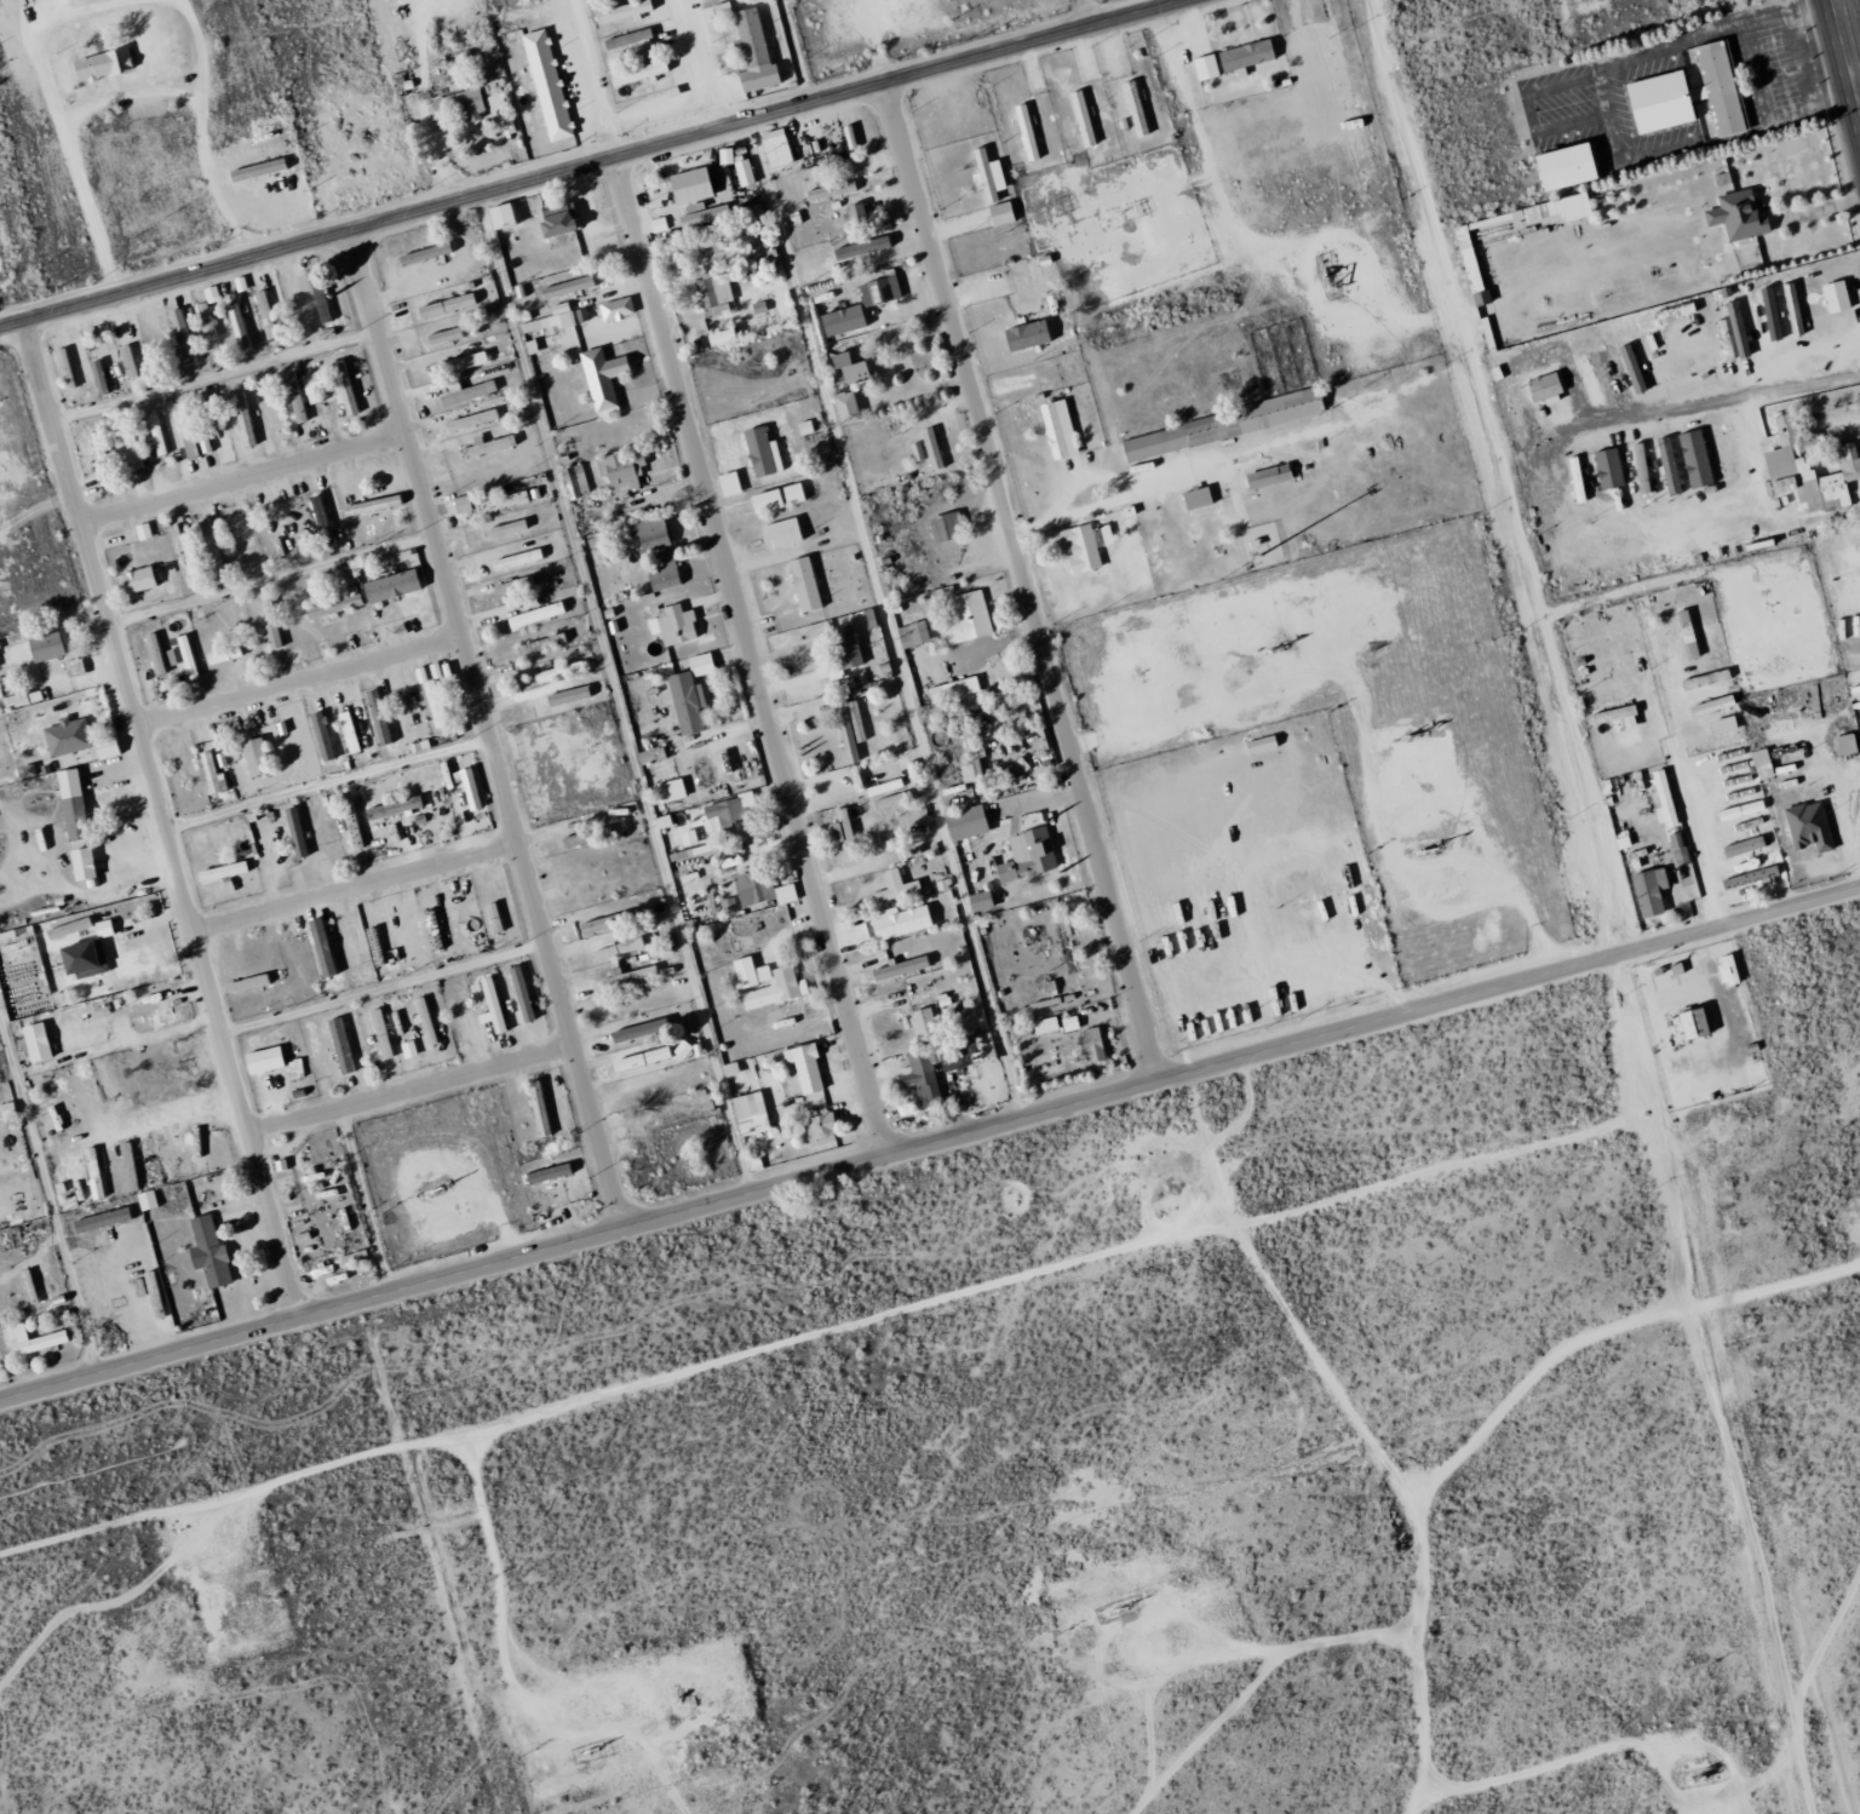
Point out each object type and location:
building: (52, 2)
building: (620, 11)
road: (1079, 13)
building: (745, 35)
building: (625, 39)
road: (1848, 45)
building: (1244, 54)
road: (702, 62)
building: (99, 63)
building: (1202, 67)
building: (636, 73)
road: (590, 78)
building: (756, 78)
building: (545, 85)
road: (124, 94)
building: (492, 94)
building: (1687, 94)
building: (464, 104)
road: (57, 116)
building: (1079, 117)
road: (199, 128)
building: (1023, 132)
road: (590, 160)
building: (1560, 167)
building: (256, 170)
building: (741, 172)
building: (984, 176)
building: (687, 185)
building: (828, 190)
building: (1566, 207)
road: (268, 211)
building: (854, 211)
building: (998, 213)
building: (700, 214)
building: (1735, 216)
building: (496, 217)
building: (553, 219)
building: (860, 248)
building: (421, 253)
building: (708, 254)
building: (1466, 265)
building: (564, 287)
building: (878, 289)
building: (208, 293)
building: (711, 295)
building: (1832, 297)
building: (443, 305)
building: (614, 309)
building: (1790, 309)
building: (1768, 314)
building: (234, 321)
building: (839, 321)
building: (545, 322)
building: (179, 335)
building: (442, 335)
building: (1023, 335)
building: (717, 337)
building: (461, 361)
building: (62, 368)
building: (1629, 368)
building: (842, 369)
building: (94, 377)
building: (599, 377)
building: (311, 381)
building: (341, 384)
building: (1540, 389)
building: (463, 392)
building: (1509, 407)
building: (843, 408)
building: (240, 418)
building: (469, 420)
building: (1218, 425)
building: (1056, 429)
building: (153, 434)
building: (128, 447)
building: (484, 447)
building: (929, 449)
building: (1721, 450)
building: (759, 452)
building: (1693, 459)
building: (1666, 466)
building: (1606, 469)
building: (620, 470)
building: (1806, 471)
road: (1165, 475)
road: (242, 476)
road: (1084, 476)
building: (1265, 476)
building: (573, 481)
building: (727, 483)
building: (775, 496)
building: (1194, 498)
building: (371, 501)
building: (498, 503)
building: (459, 504)
building: (318, 519)
building: (503, 529)
building: (140, 530)
building: (780, 533)
building: (647, 534)
building: (1100, 535)
building: (1077, 547)
building: (513, 558)
building: (661, 573)
building: (134, 579)
road: (1022, 581)
building: (802, 584)
building: (387, 585)
building: (511, 585)
building: (331, 605)
building: (533, 614)
building: (965, 618)
building: (671, 625)
building: (909, 633)
building: (1683, 635)
building: (540, 643)
building: (42, 647)
building: (844, 648)
building: (153, 653)
building: (220, 654)
building: (172, 656)
building: (184, 656)
road: (750, 656)
building: (697, 665)
building: (69, 666)
building: (556, 672)
road: (299, 681)
building: (951, 689)
road: (613, 694)
building: (566, 695)
building: (13, 700)
building: (684, 702)
building: (431, 704)
building: (1709, 705)
building: (375, 716)
building: (1614, 717)
building: (1721, 725)
building: (846, 727)
road: (488, 729)
building: (344, 733)
building: (318, 735)
building: (64, 736)
building: (1258, 744)
building: (1842, 745)
building: (103, 747)
building: (649, 754)
building: (252, 756)
building: (970, 756)
building: (1759, 764)
building: (208, 771)
building: (467, 790)
building: (667, 790)
building: (69, 804)
building: (390, 806)
building: (734, 810)
building: (1738, 810)
road: (161, 819)
building: (963, 822)
building: (350, 825)
building: (1806, 827)
building: (293, 831)
building: (831, 832)
building: (843, 834)
building: (1741, 846)
building: (1676, 849)
road: (1699, 850)
building: (1024, 855)
building: (79, 863)
building: (218, 872)
building: (1747, 877)
road: (355, 884)
building: (890, 886)
building: (758, 889)
building: (1647, 892)
building: (977, 901)
building: (492, 917)
building: (897, 920)
building: (593, 924)
building: (65, 928)
building: (101, 928)
building: (615, 948)
building: (80, 958)
building: (897, 968)
building: (1724, 969)
building: (627, 976)
building: (245, 983)
building: (786, 983)
road: (383, 988)
building: (518, 993)
building: (488, 1006)
building: (421, 1021)
building: (919, 1022)
building: (1067, 1023)
building: (1688, 1023)
building: (1043, 1024)
building: (632, 1031)
building: (378, 1033)
building: (33, 1041)
building: (338, 1045)
building: (1090, 1045)
building: (407, 1050)
building: (637, 1058)
building: (260, 1060)
building: (172, 1061)
building: (802, 1067)
building: (920, 1078)
road: (411, 1091)
building: (535, 1107)
building: (5, 1109)
building: (748, 1113)
building: (817, 1129)
road: (930, 1146)
building: (194, 1149)
building: (160, 1156)
building: (126, 1166)
building: (90, 1173)
building: (545, 1173)
building: (144, 1200)
building: (98, 1219)
building: (206, 1252)
building: (28, 1341)

